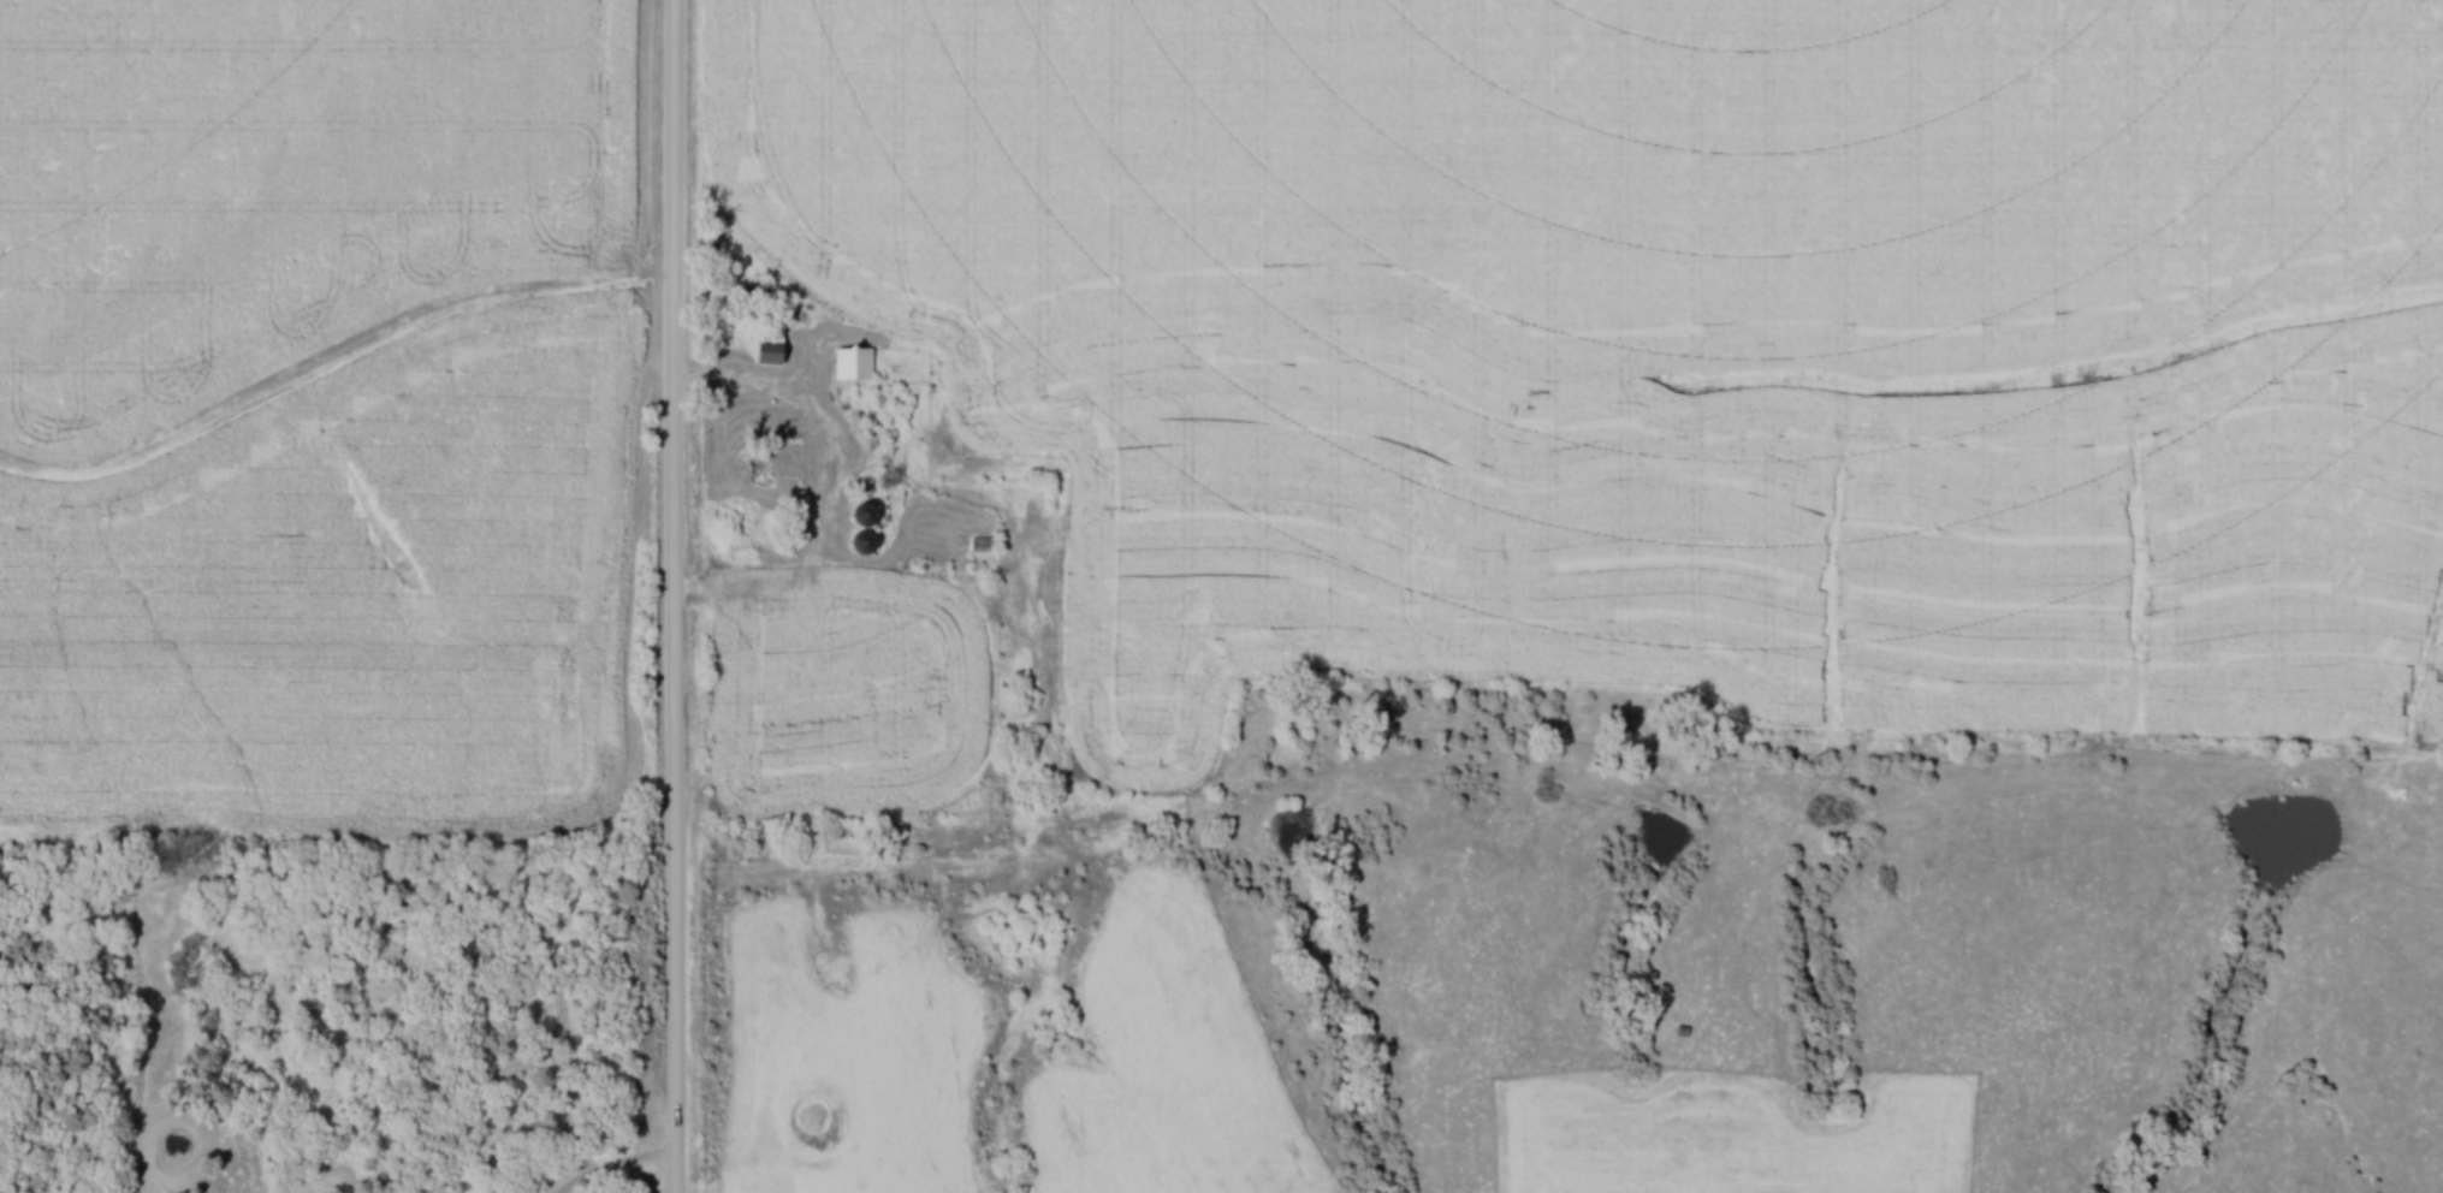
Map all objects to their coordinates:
building: (775, 348)
building: (856, 362)
road: (758, 387)
building: (764, 467)
building: (871, 514)
building: (868, 540)
road: (681, 595)
road: (619, 1168)

